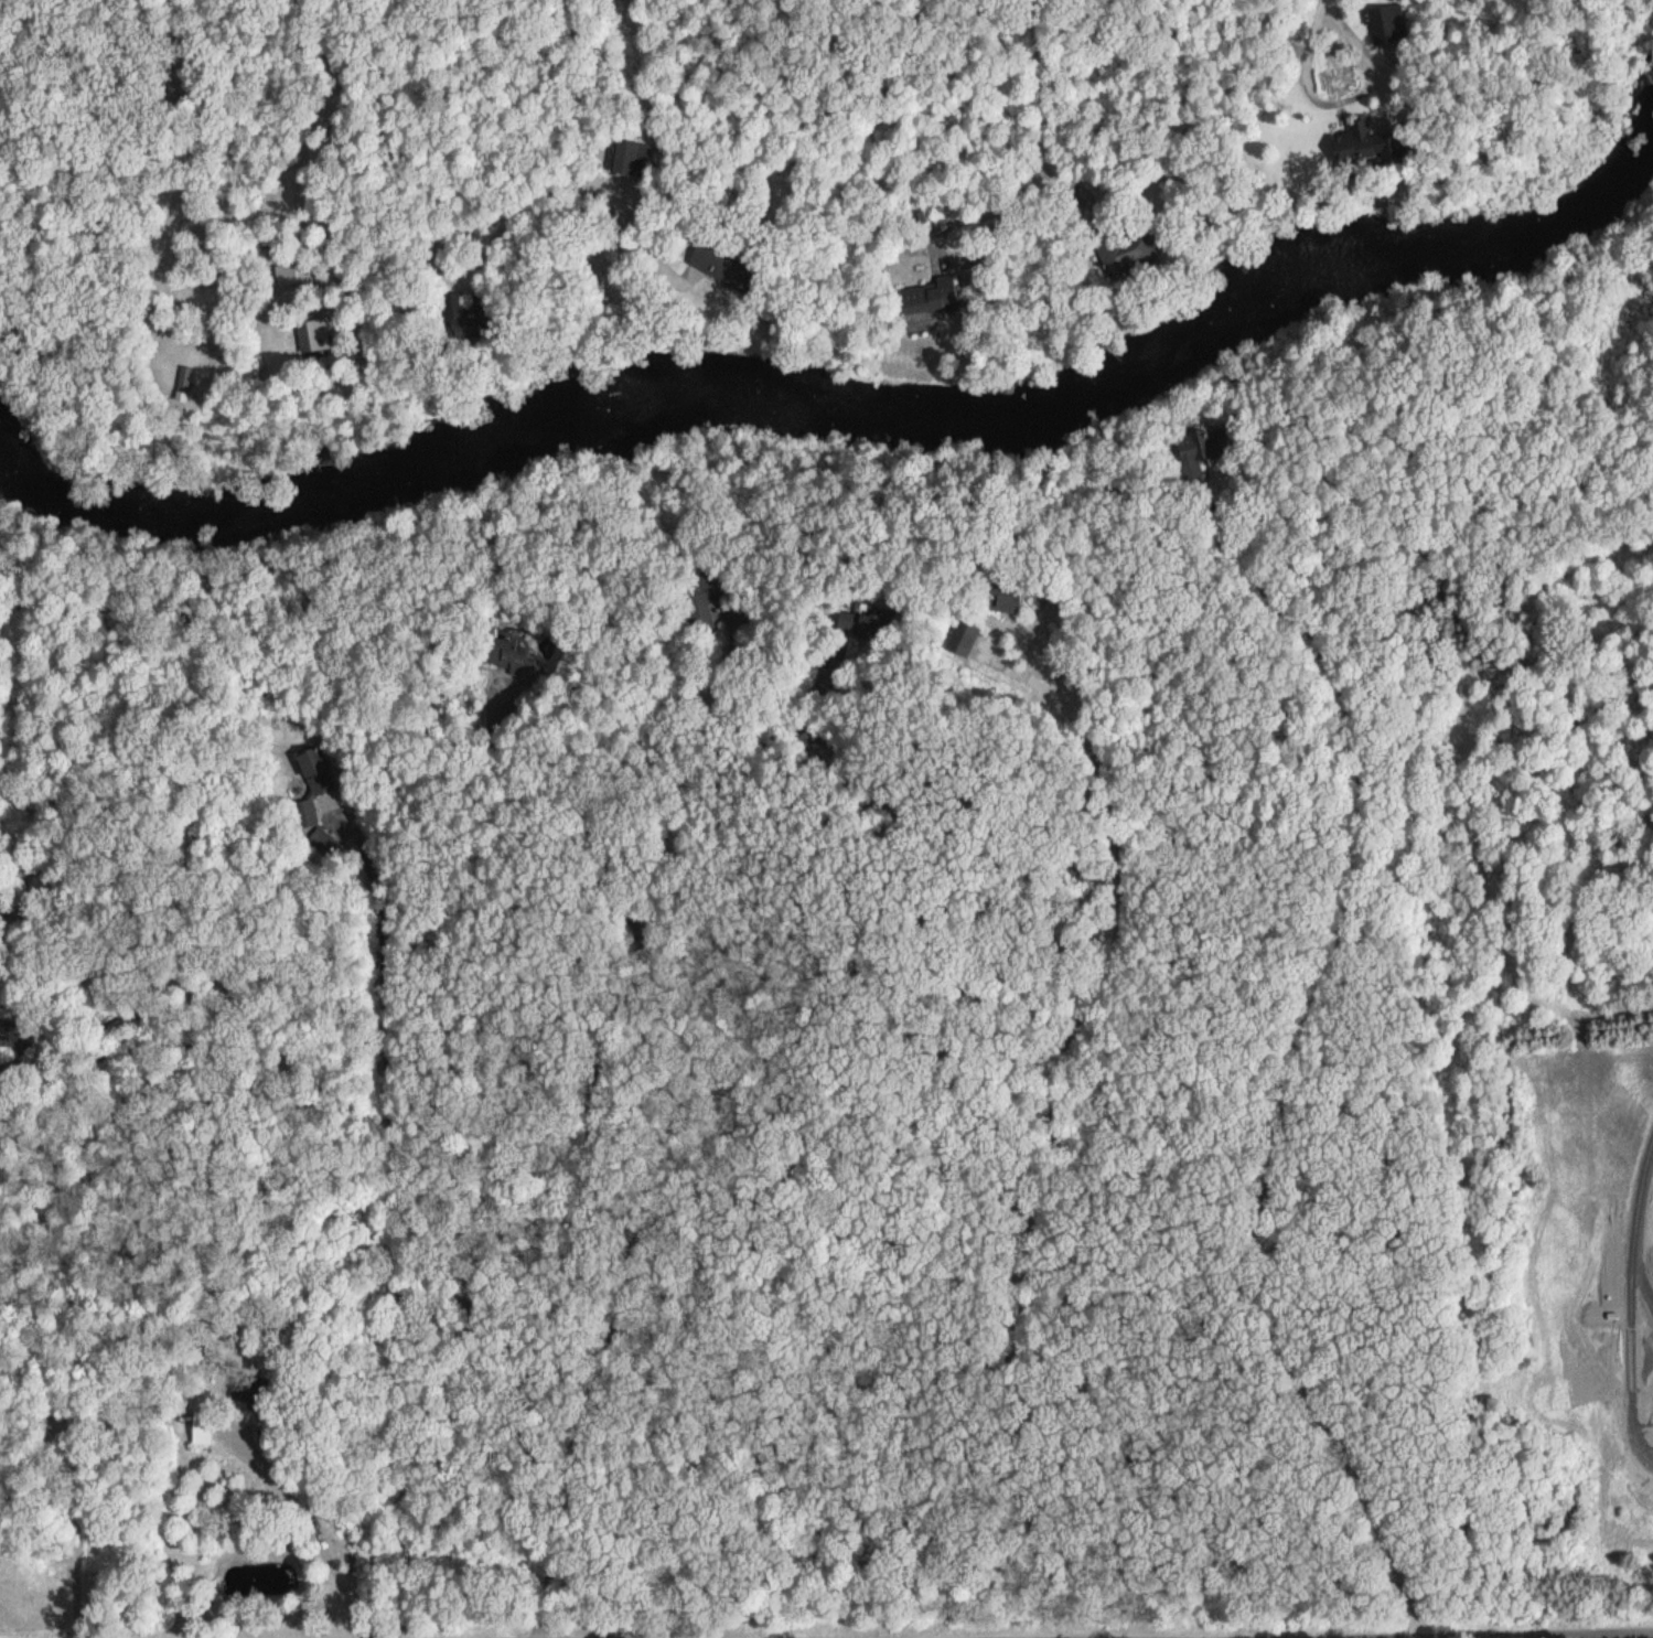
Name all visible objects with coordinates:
building: (1391, 22)
road: (337, 88)
road: (1332, 97)
road: (1043, 118)
building: (1353, 146)
building: (630, 156)
road: (643, 174)
building: (1119, 249)
road: (969, 255)
road: (666, 259)
building: (285, 274)
building: (929, 298)
building: (314, 335)
river: (842, 403)
building: (1193, 453)
building: (997, 595)
building: (697, 602)
building: (962, 639)
building: (507, 654)
road: (706, 700)
building: (310, 761)
road: (569, 803)
building: (303, 813)
building: (316, 839)
road: (1294, 1078)
road: (590, 1127)
road: (397, 1219)
building: (201, 1428)
road: (1317, 1635)

